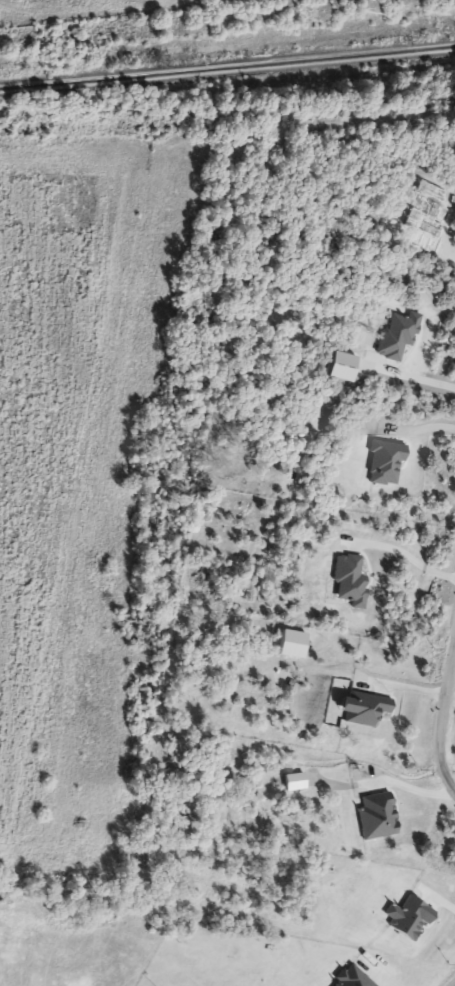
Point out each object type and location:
railway: (227, 69)
road: (410, 376)
road: (407, 554)
road: (439, 708)
road: (438, 899)
road: (454, 985)

